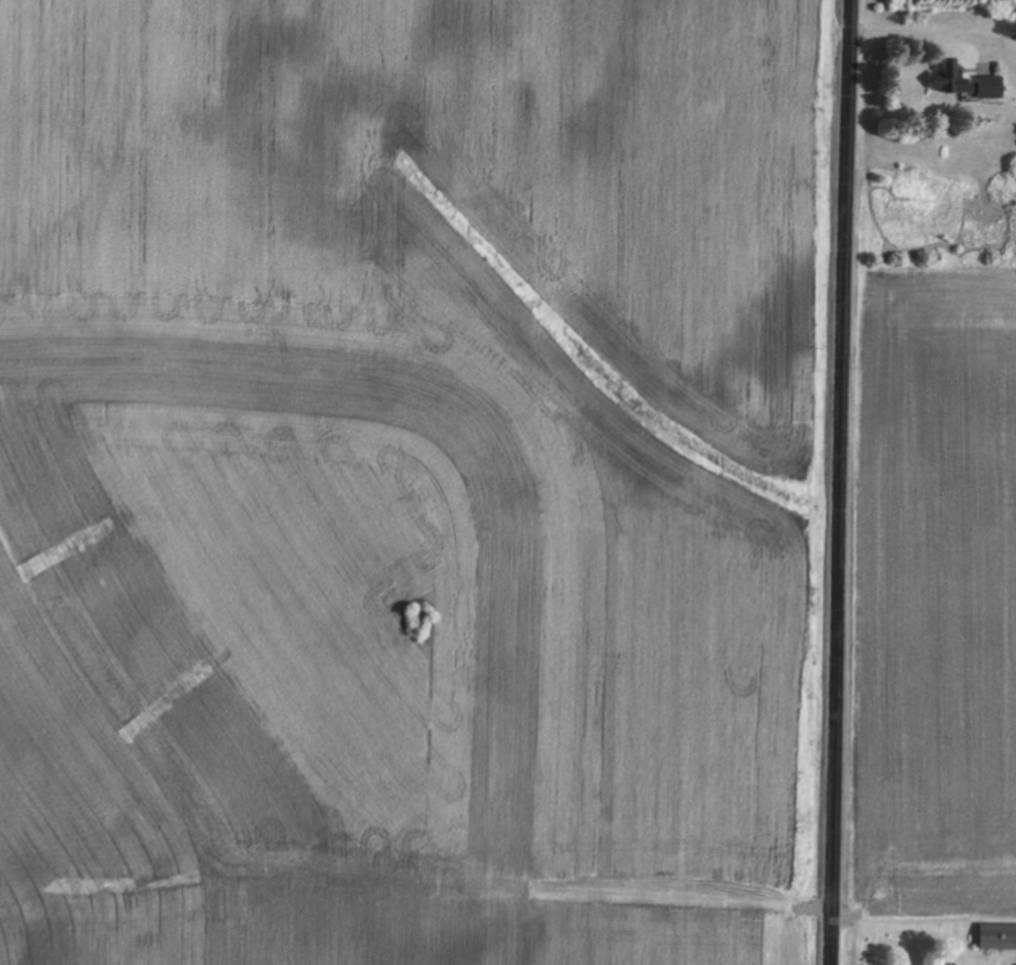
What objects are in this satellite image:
building: (964, 83)
road: (840, 482)
building: (997, 938)

